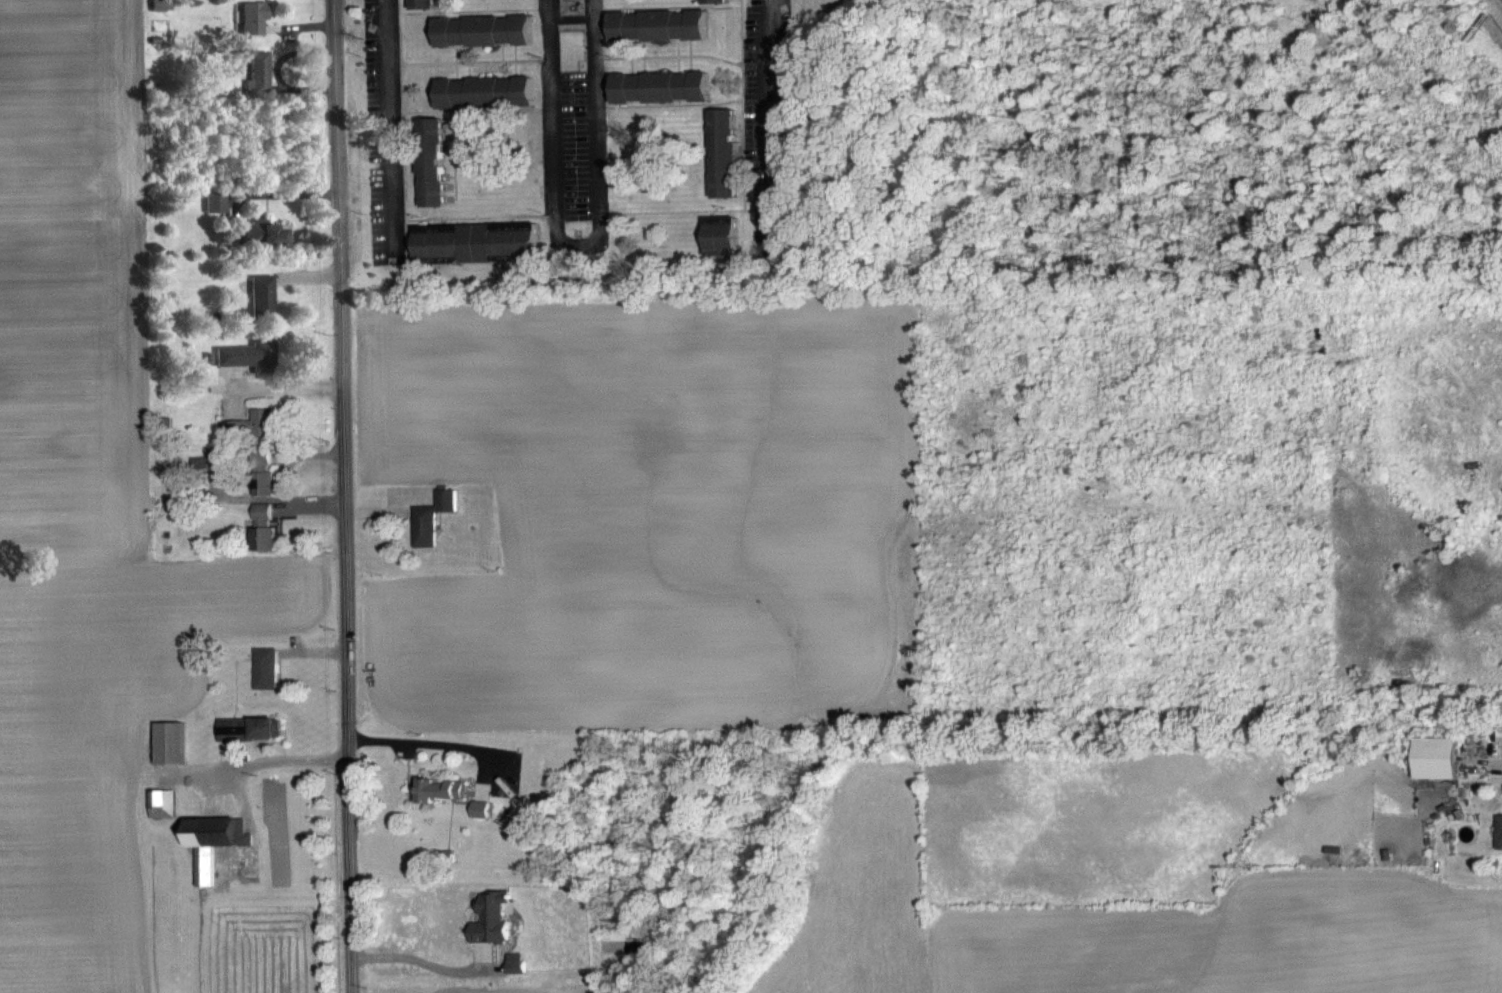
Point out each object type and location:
building: (713, 7)
building: (422, 10)
building: (159, 14)
building: (250, 28)
building: (658, 37)
building: (483, 42)
building: (256, 84)
building: (660, 99)
building: (485, 104)
road: (552, 114)
road: (596, 114)
road: (769, 125)
road: (393, 129)
building: (723, 165)
building: (432, 173)
building: (212, 213)
building: (258, 244)
road: (578, 245)
building: (721, 248)
building: (476, 253)
building: (259, 307)
building: (246, 367)
road: (278, 387)
building: (253, 436)
building: (217, 473)
building: (262, 485)
road: (342, 496)
building: (426, 535)
building: (262, 539)
building: (264, 680)
building: (249, 740)
road: (426, 743)
road: (268, 761)
building: (1435, 769)
building: (437, 801)
building: (480, 821)
building: (1498, 843)
building: (203, 872)
building: (491, 930)
road: (426, 962)
building: (516, 974)

